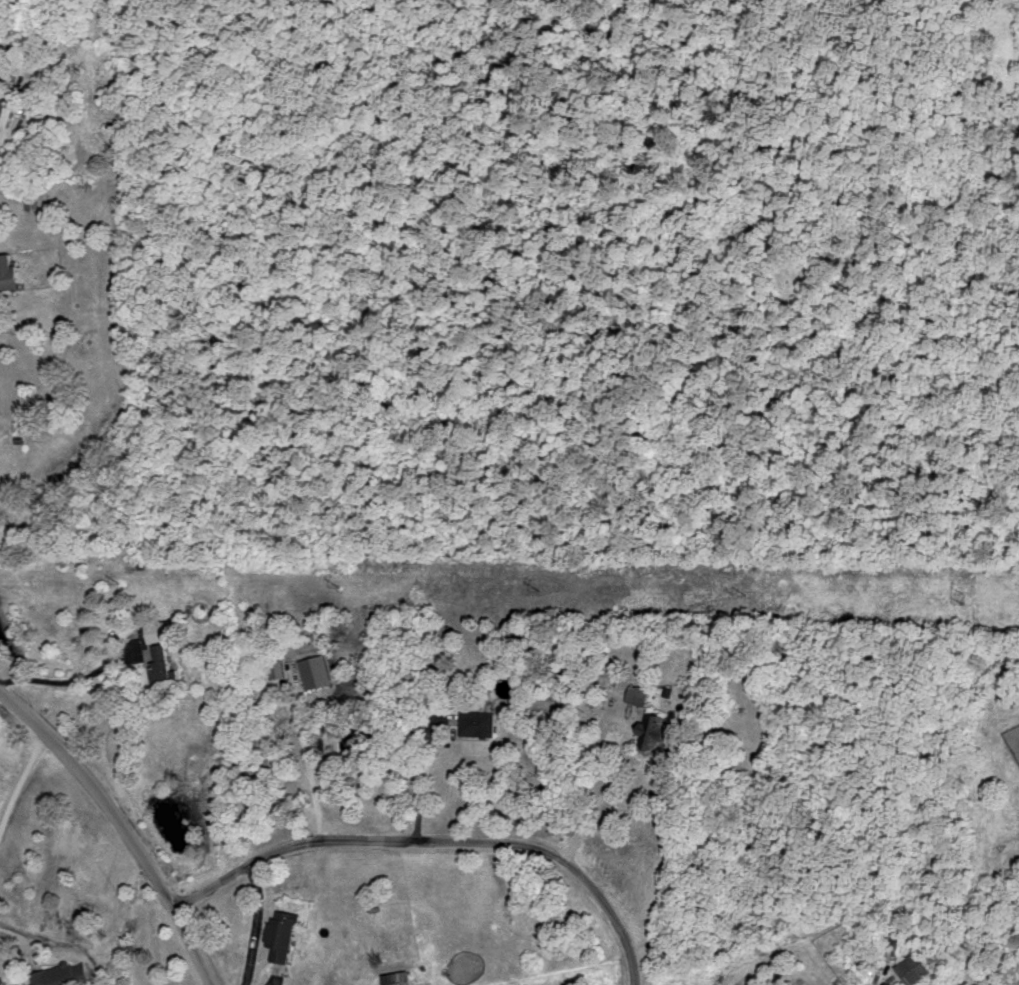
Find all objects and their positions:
building: (7, 110)
building: (11, 270)
building: (161, 631)
building: (163, 662)
building: (278, 667)
building: (317, 670)
road: (75, 680)
building: (639, 694)
building: (479, 722)
building: (654, 730)
road: (631, 742)
road: (420, 768)
road: (307, 770)
road: (22, 782)
road: (123, 825)
road: (584, 831)
road: (286, 848)
road: (561, 860)
road: (259, 924)
building: (285, 934)
building: (915, 968)
building: (64, 974)
building: (399, 978)
building: (815, 984)

